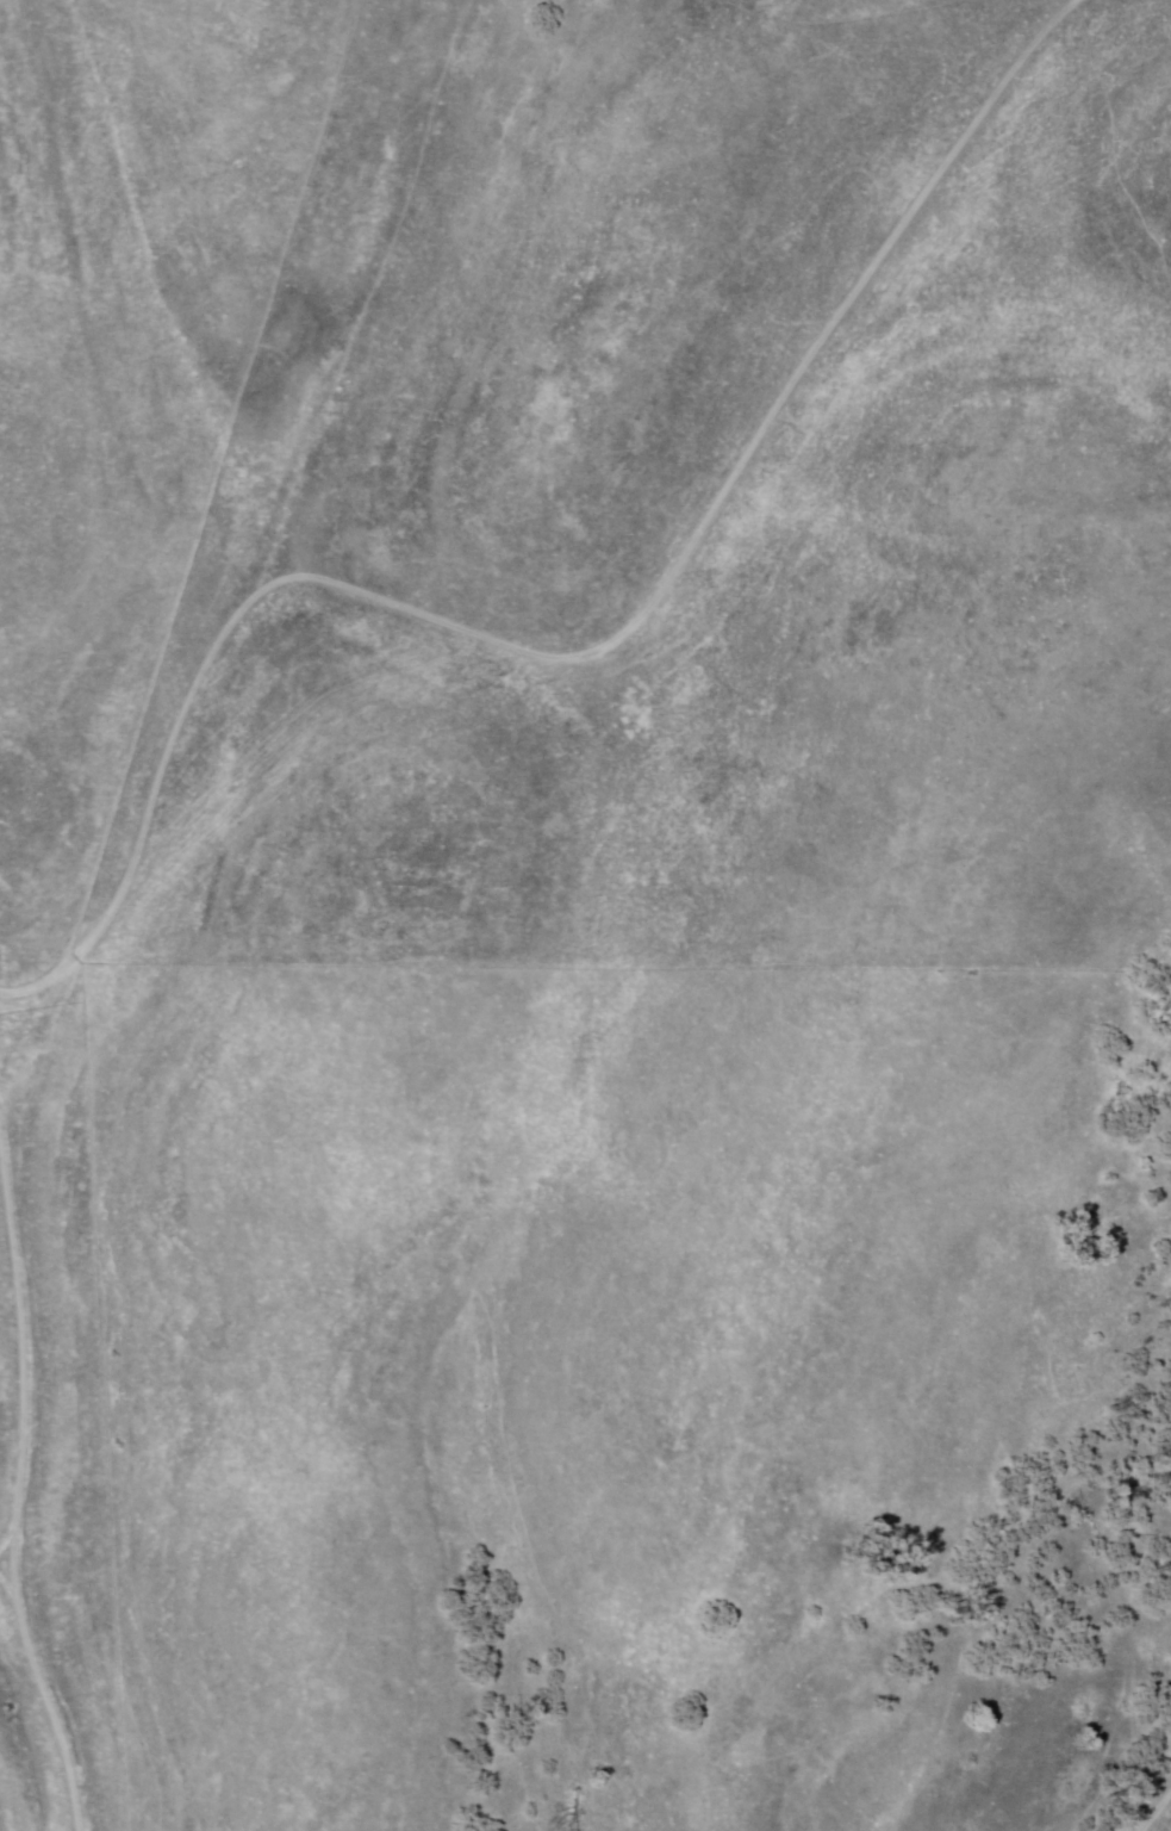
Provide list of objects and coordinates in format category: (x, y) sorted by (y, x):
road: (409, 323)
road: (518, 592)
road: (46, 1448)

